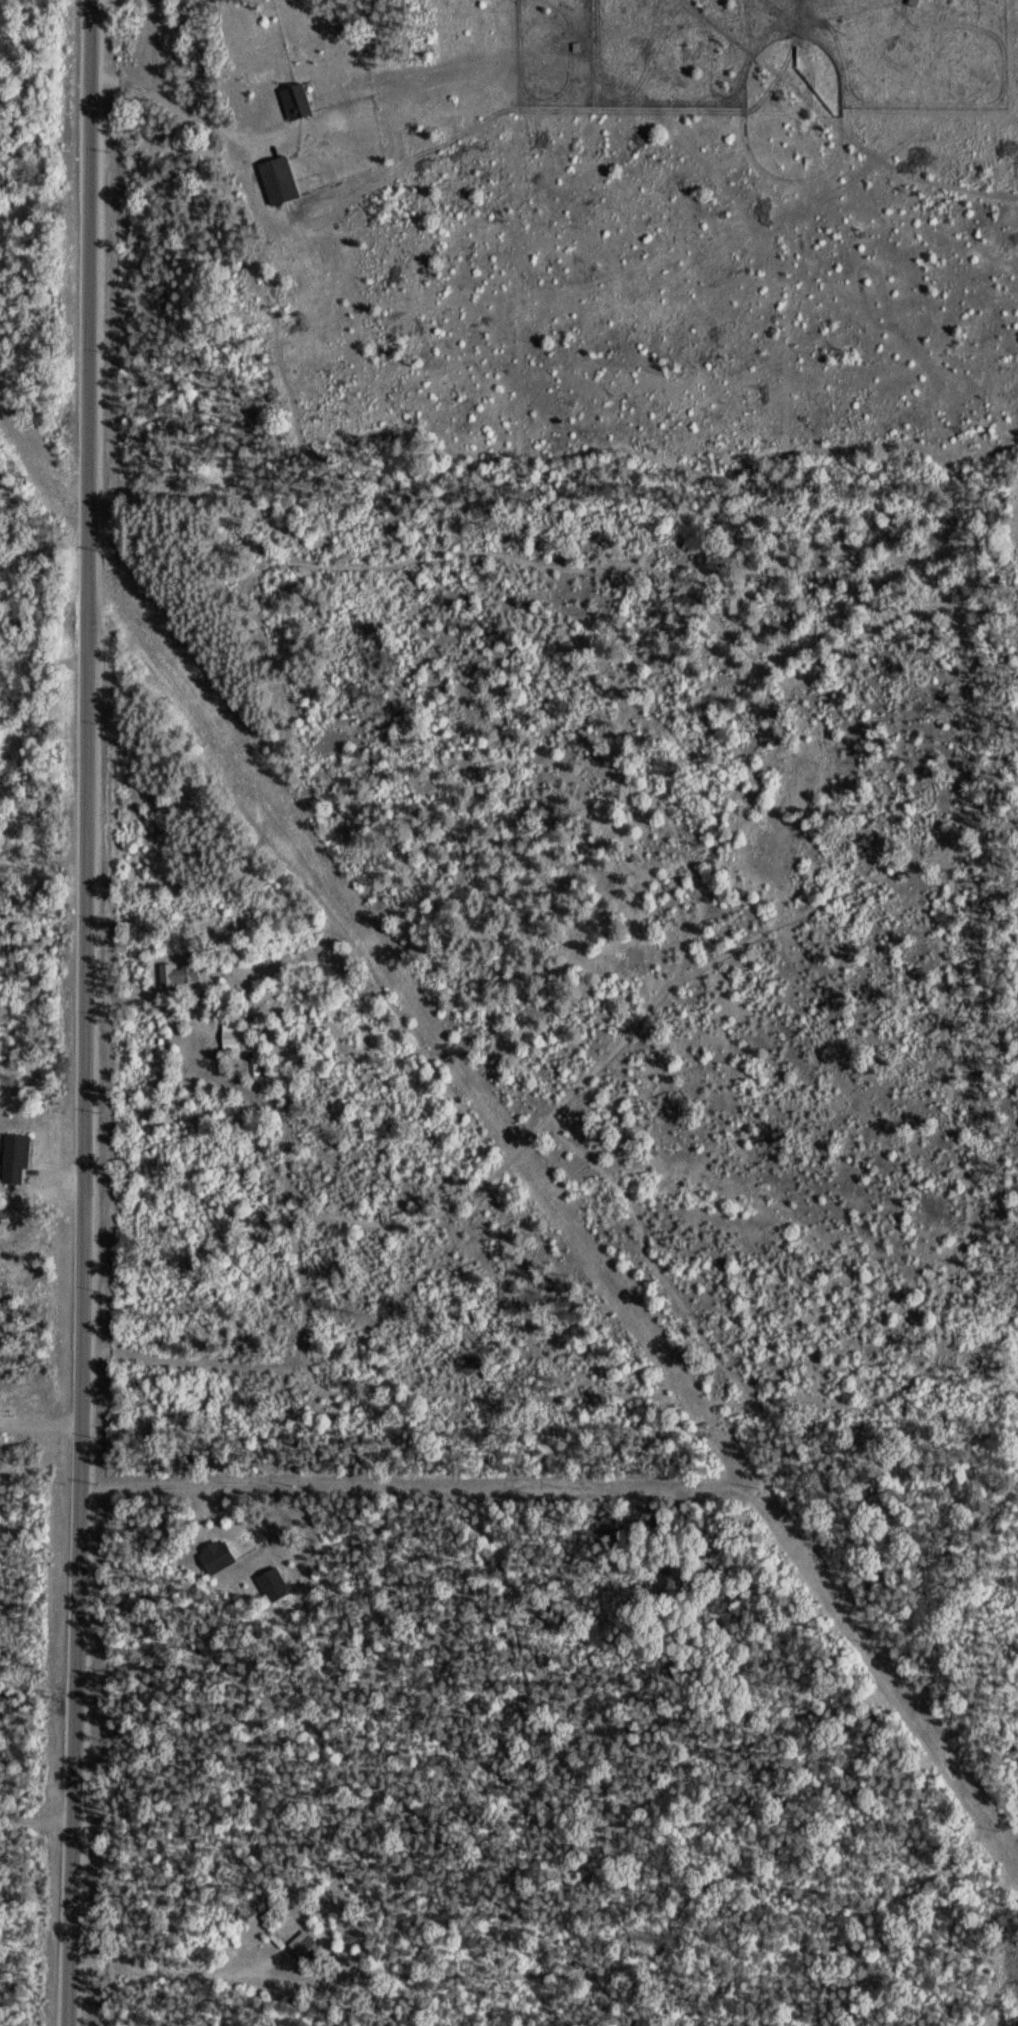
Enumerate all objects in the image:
building: (294, 101)
road: (840, 127)
building: (276, 180)
building: (175, 974)
road: (89, 1013)
building: (229, 1036)
building: (14, 1158)
road: (37, 1421)
building: (215, 1555)
road: (839, 1669)
building: (305, 1950)

